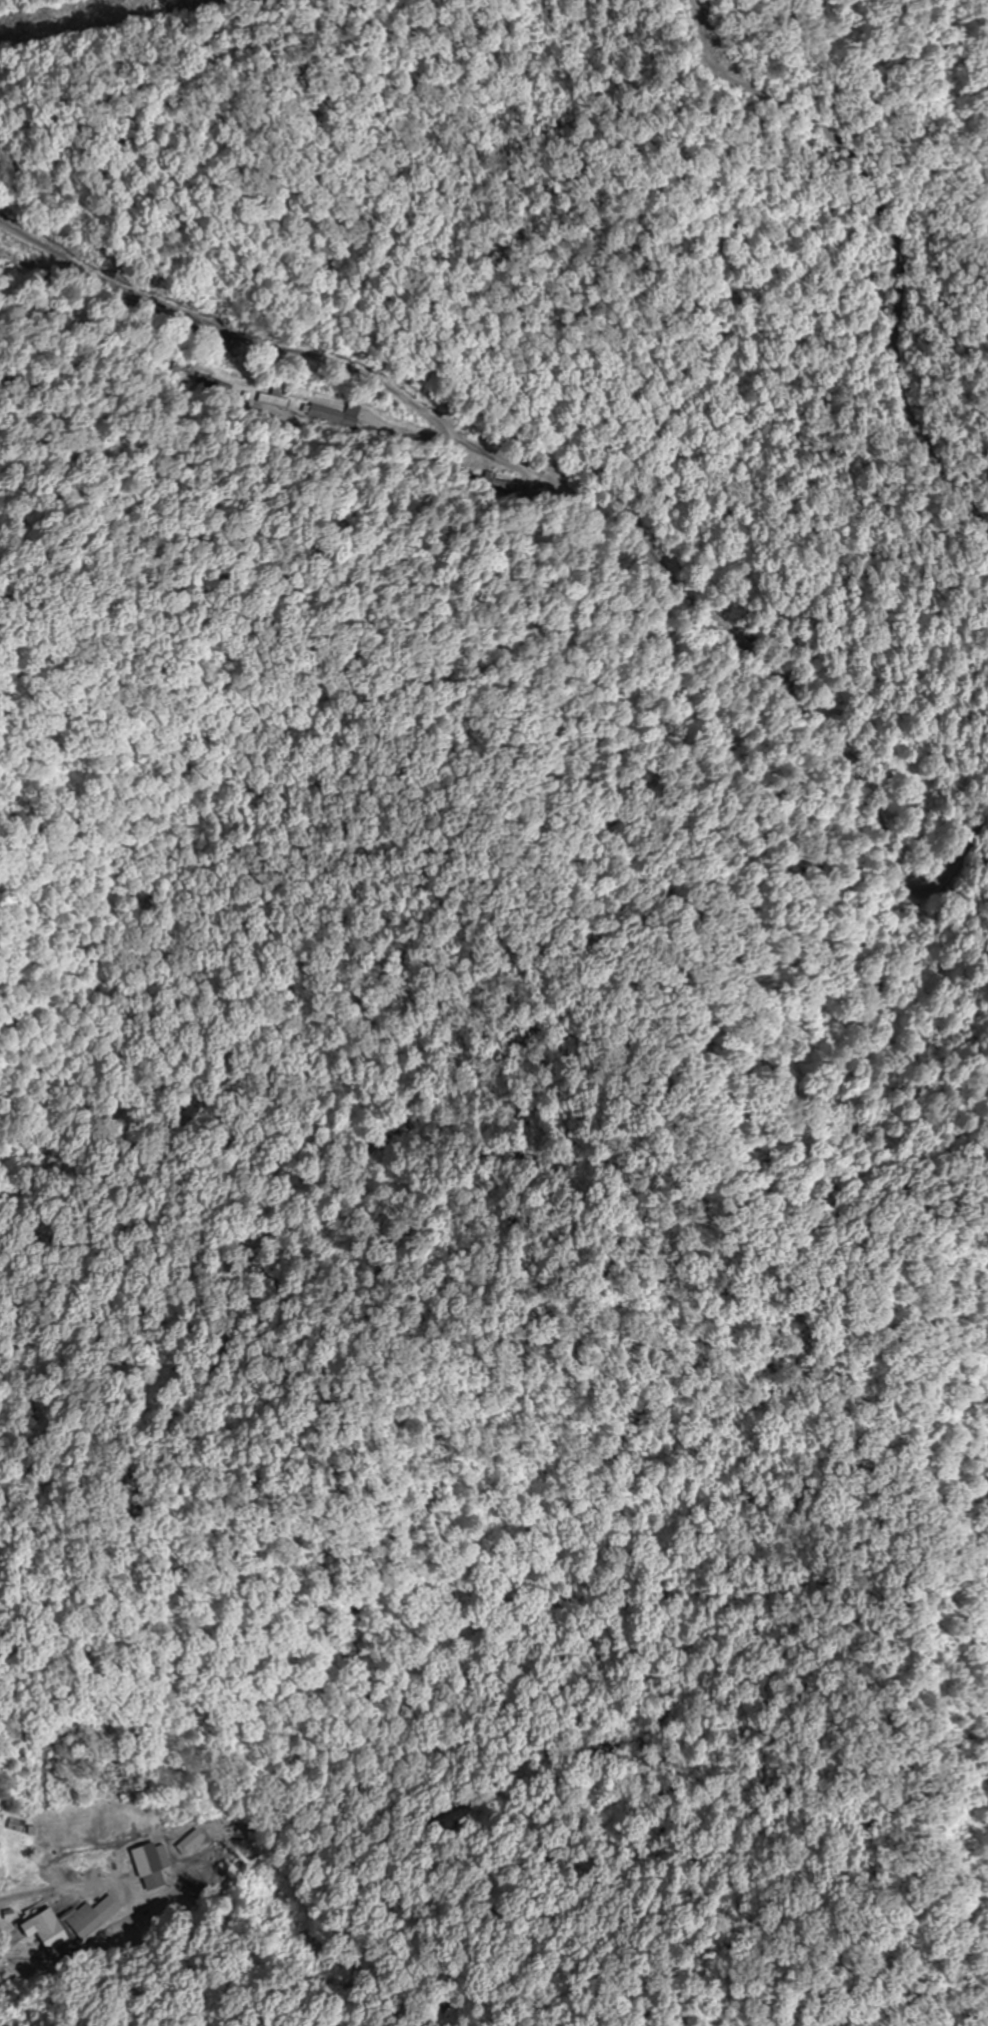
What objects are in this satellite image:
road: (846, 132)
road: (11, 230)
road: (893, 352)
road: (959, 817)
building: (11, 1826)
building: (187, 1842)
building: (148, 1869)
building: (92, 1918)
building: (49, 1935)
road: (7, 1952)

